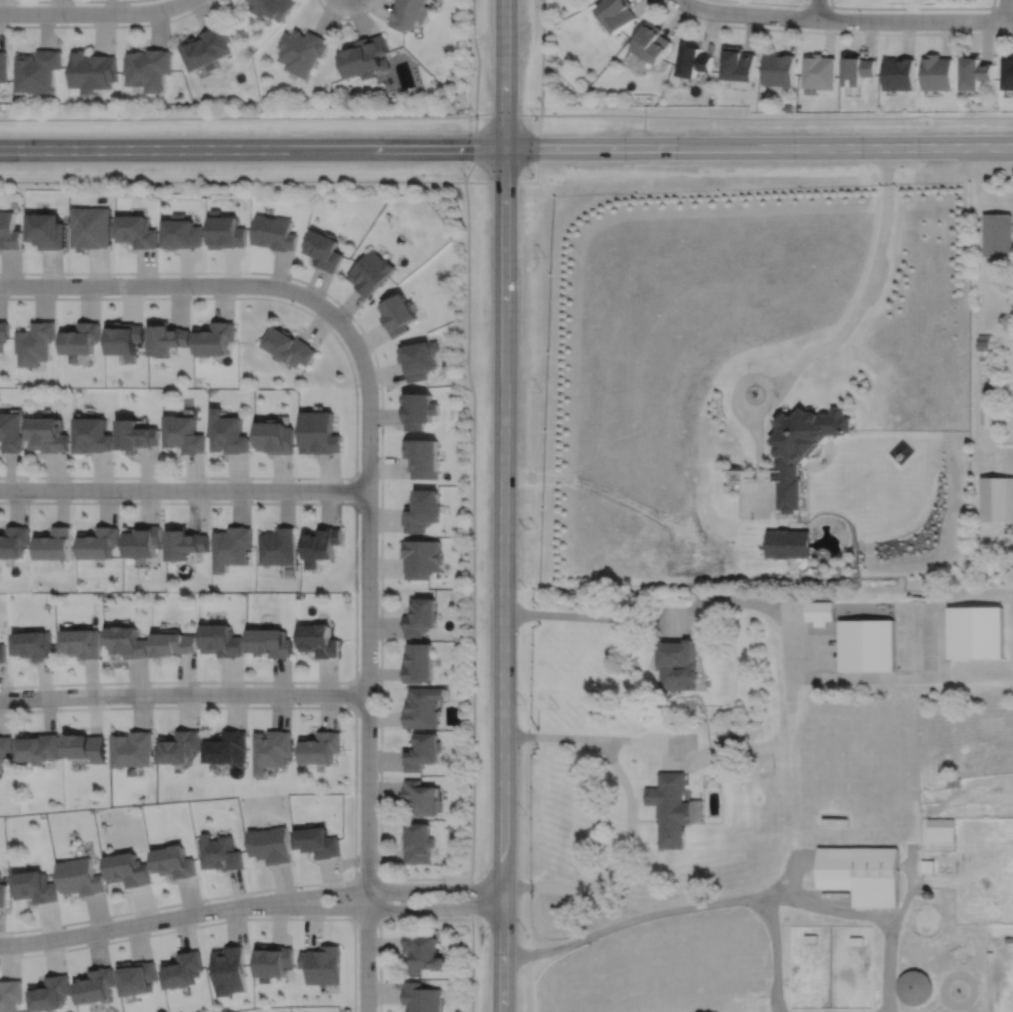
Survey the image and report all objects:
road: (45, 0)
road: (771, 3)
building: (273, 6)
road: (818, 6)
road: (1003, 7)
road: (913, 8)
road: (816, 9)
road: (1005, 9)
road: (93, 12)
building: (616, 12)
building: (409, 13)
road: (345, 17)
road: (844, 19)
road: (106, 24)
road: (833, 31)
building: (652, 41)
building: (209, 47)
building: (303, 49)
building: (365, 55)
road: (477, 56)
building: (694, 59)
building: (738, 63)
building: (3, 65)
building: (149, 67)
building: (778, 68)
building: (856, 68)
building: (38, 69)
building: (93, 70)
building: (818, 70)
building: (976, 71)
building: (937, 72)
building: (1008, 72)
building: (899, 73)
building: (588, 90)
building: (712, 99)
building: (787, 107)
road: (507, 112)
road: (237, 116)
street lamp: (478, 117)
street lamp: (537, 117)
road: (777, 117)
road: (538, 125)
road: (506, 146)
road: (474, 147)
street lamp: (533, 175)
street lamp: (468, 178)
road: (232, 179)
building: (90, 227)
building: (46, 230)
building: (226, 230)
building: (8, 231)
building: (136, 231)
building: (182, 232)
building: (274, 232)
building: (998, 235)
building: (322, 248)
building: (370, 272)
road: (177, 284)
building: (398, 314)
building: (3, 332)
building: (166, 338)
building: (80, 339)
building: (123, 339)
building: (214, 339)
road: (835, 341)
building: (984, 342)
building: (34, 343)
building: (290, 347)
building: (417, 359)
building: (1001, 383)
road: (741, 384)
road: (356, 407)
building: (418, 410)
building: (11, 433)
building: (228, 433)
building: (318, 433)
building: (184, 434)
building: (48, 436)
building: (92, 436)
building: (137, 437)
building: (276, 437)
building: (800, 448)
road: (380, 455)
building: (422, 458)
building: (735, 474)
road: (183, 489)
road: (355, 489)
building: (997, 497)
road: (503, 506)
building: (421, 508)
road: (472, 528)
building: (143, 539)
building: (13, 540)
building: (99, 541)
building: (185, 541)
building: (788, 541)
building: (55, 542)
building: (319, 543)
building: (232, 545)
building: (276, 545)
building: (421, 557)
road: (355, 592)
building: (819, 610)
building: (420, 615)
road: (679, 615)
building: (976, 630)
building: (223, 639)
building: (317, 639)
building: (128, 640)
building: (82, 641)
building: (271, 641)
building: (175, 642)
building: (34, 643)
building: (867, 643)
building: (2, 651)
building: (418, 662)
building: (677, 664)
road: (367, 665)
road: (841, 678)
road: (790, 687)
road: (183, 693)
road: (355, 694)
building: (422, 706)
road: (552, 735)
crop: (965, 739)
road: (637, 740)
road: (684, 742)
building: (731, 744)
building: (86, 746)
building: (180, 746)
building: (228, 747)
building: (319, 747)
building: (5, 748)
building: (39, 748)
building: (133, 748)
building: (272, 750)
building: (421, 751)
road: (673, 752)
road: (697, 760)
building: (133, 771)
road: (793, 772)
building: (954, 782)
road: (354, 794)
building: (421, 797)
building: (670, 807)
building: (697, 811)
building: (941, 829)
building: (316, 842)
building: (418, 843)
building: (271, 844)
building: (222, 853)
road: (619, 858)
building: (176, 862)
building: (927, 865)
street lamp: (357, 866)
building: (129, 869)
road: (365, 872)
building: (861, 873)
building: (81, 877)
street lamp: (443, 880)
building: (35, 887)
road: (389, 888)
building: (3, 893)
building: (930, 893)
road: (354, 898)
road: (385, 898)
road: (471, 898)
road: (390, 908)
road: (835, 909)
road: (659, 912)
street lamp: (449, 915)
road: (366, 918)
road: (379, 919)
road: (222, 920)
road: (139, 922)
road: (891, 927)
building: (810, 937)
building: (1009, 939)
building: (856, 940)
road: (775, 952)
building: (422, 953)
building: (275, 961)
building: (322, 965)
road: (471, 965)
building: (183, 970)
building: (231, 970)
building: (138, 978)
street lamp: (376, 979)
building: (96, 986)
building: (915, 987)
building: (50, 994)
building: (10, 995)
building: (421, 998)

